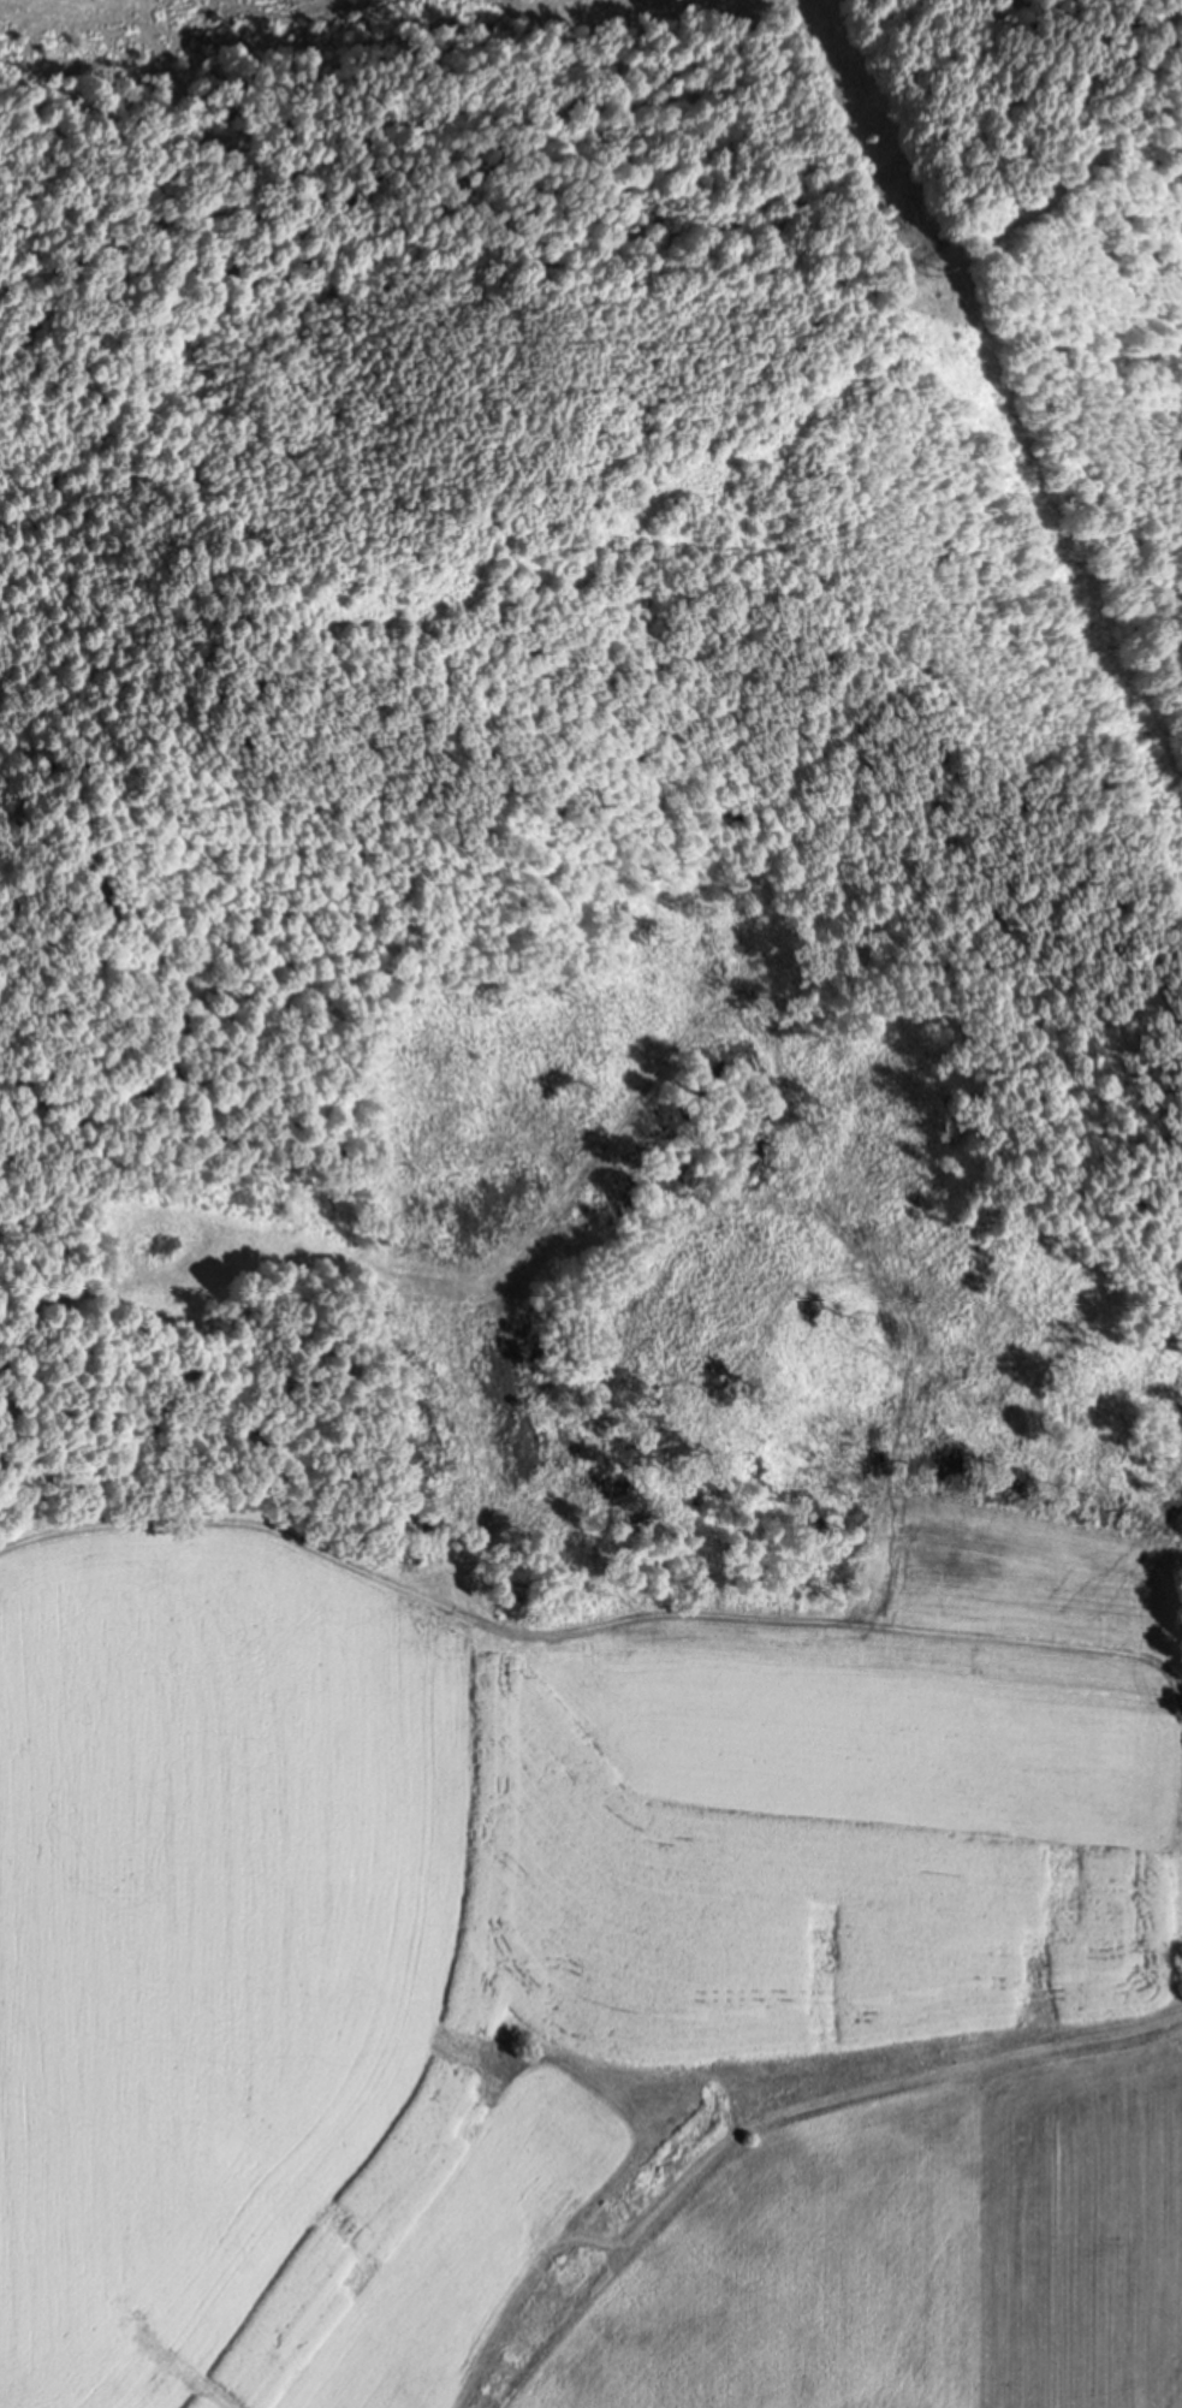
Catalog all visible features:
power tower: (933, 271)

